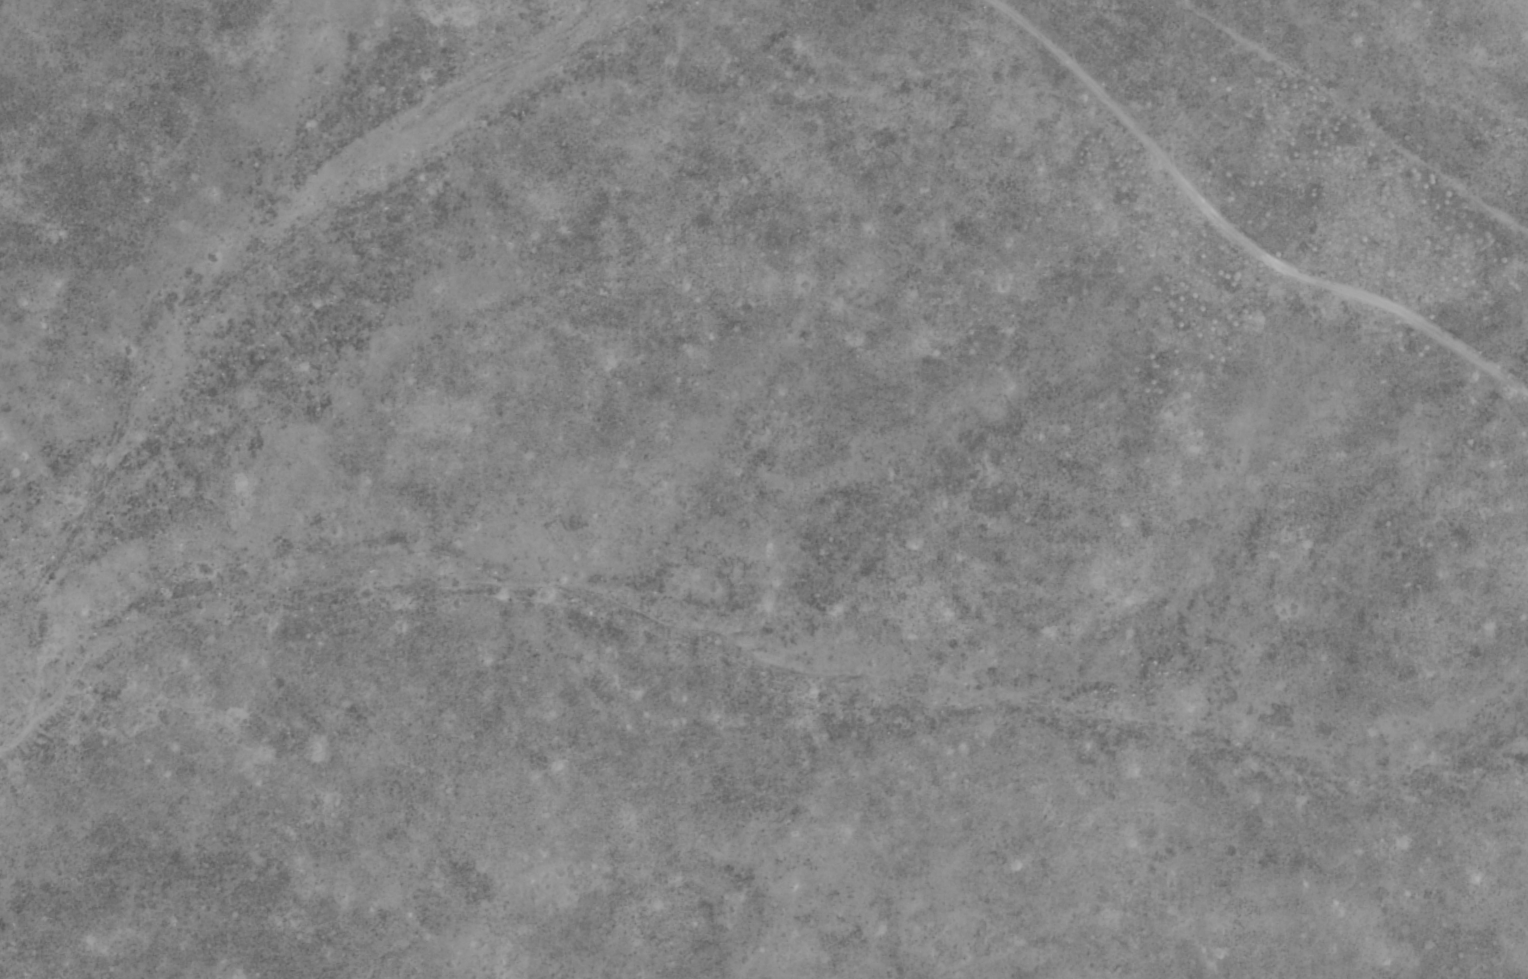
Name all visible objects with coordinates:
road: (1371, 96)

